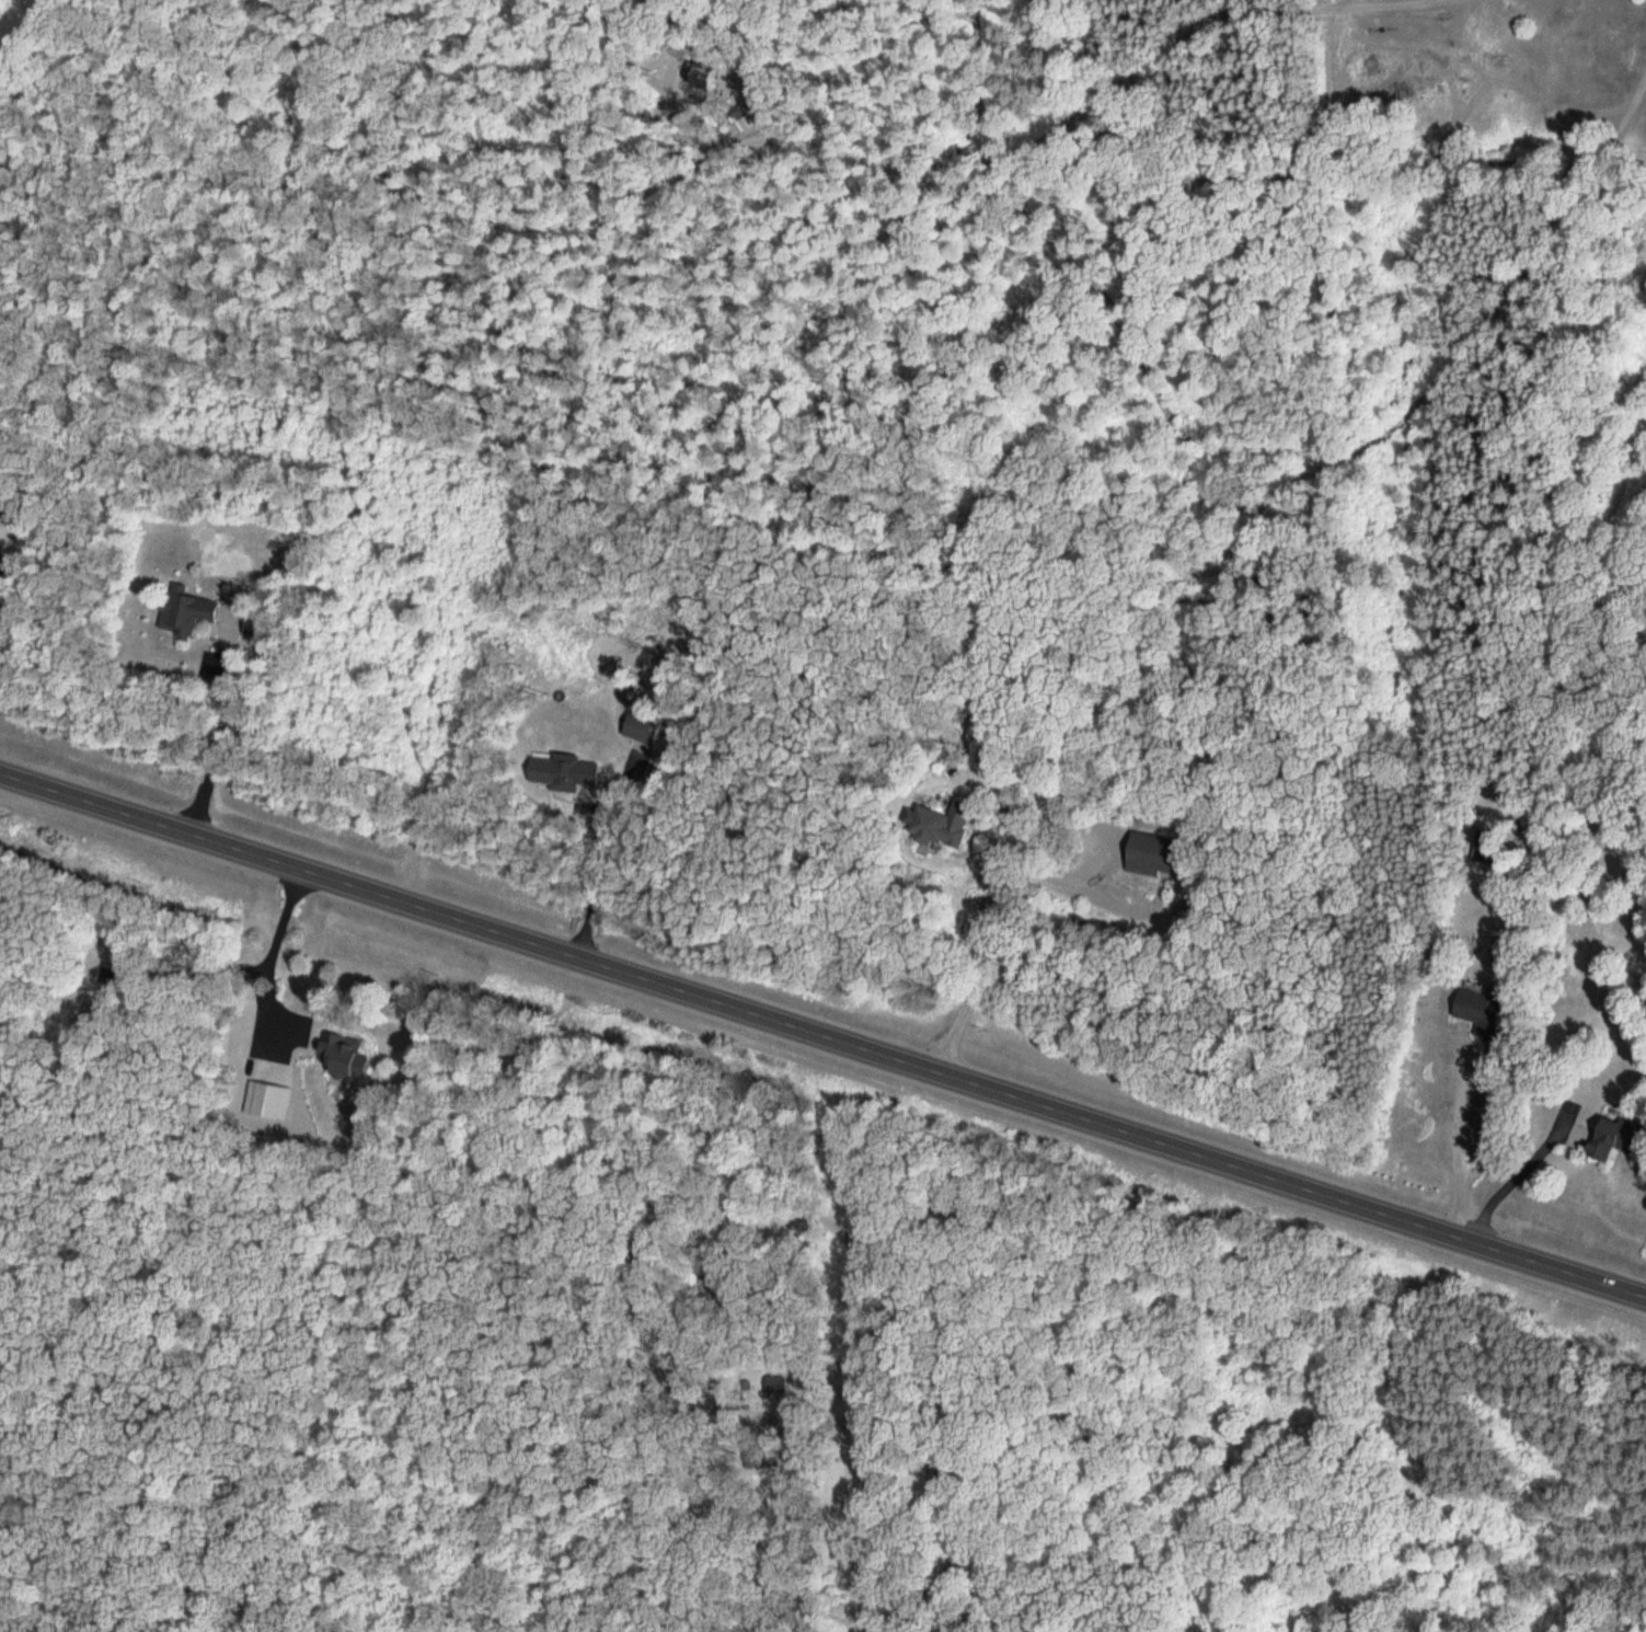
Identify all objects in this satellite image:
road: (1251, 551)
building: (184, 611)
building: (567, 770)
building: (941, 825)
building: (1149, 854)
building: (1485, 1019)
road: (822, 1033)
building: (348, 1054)
building: (1612, 1133)
road: (871, 1340)

